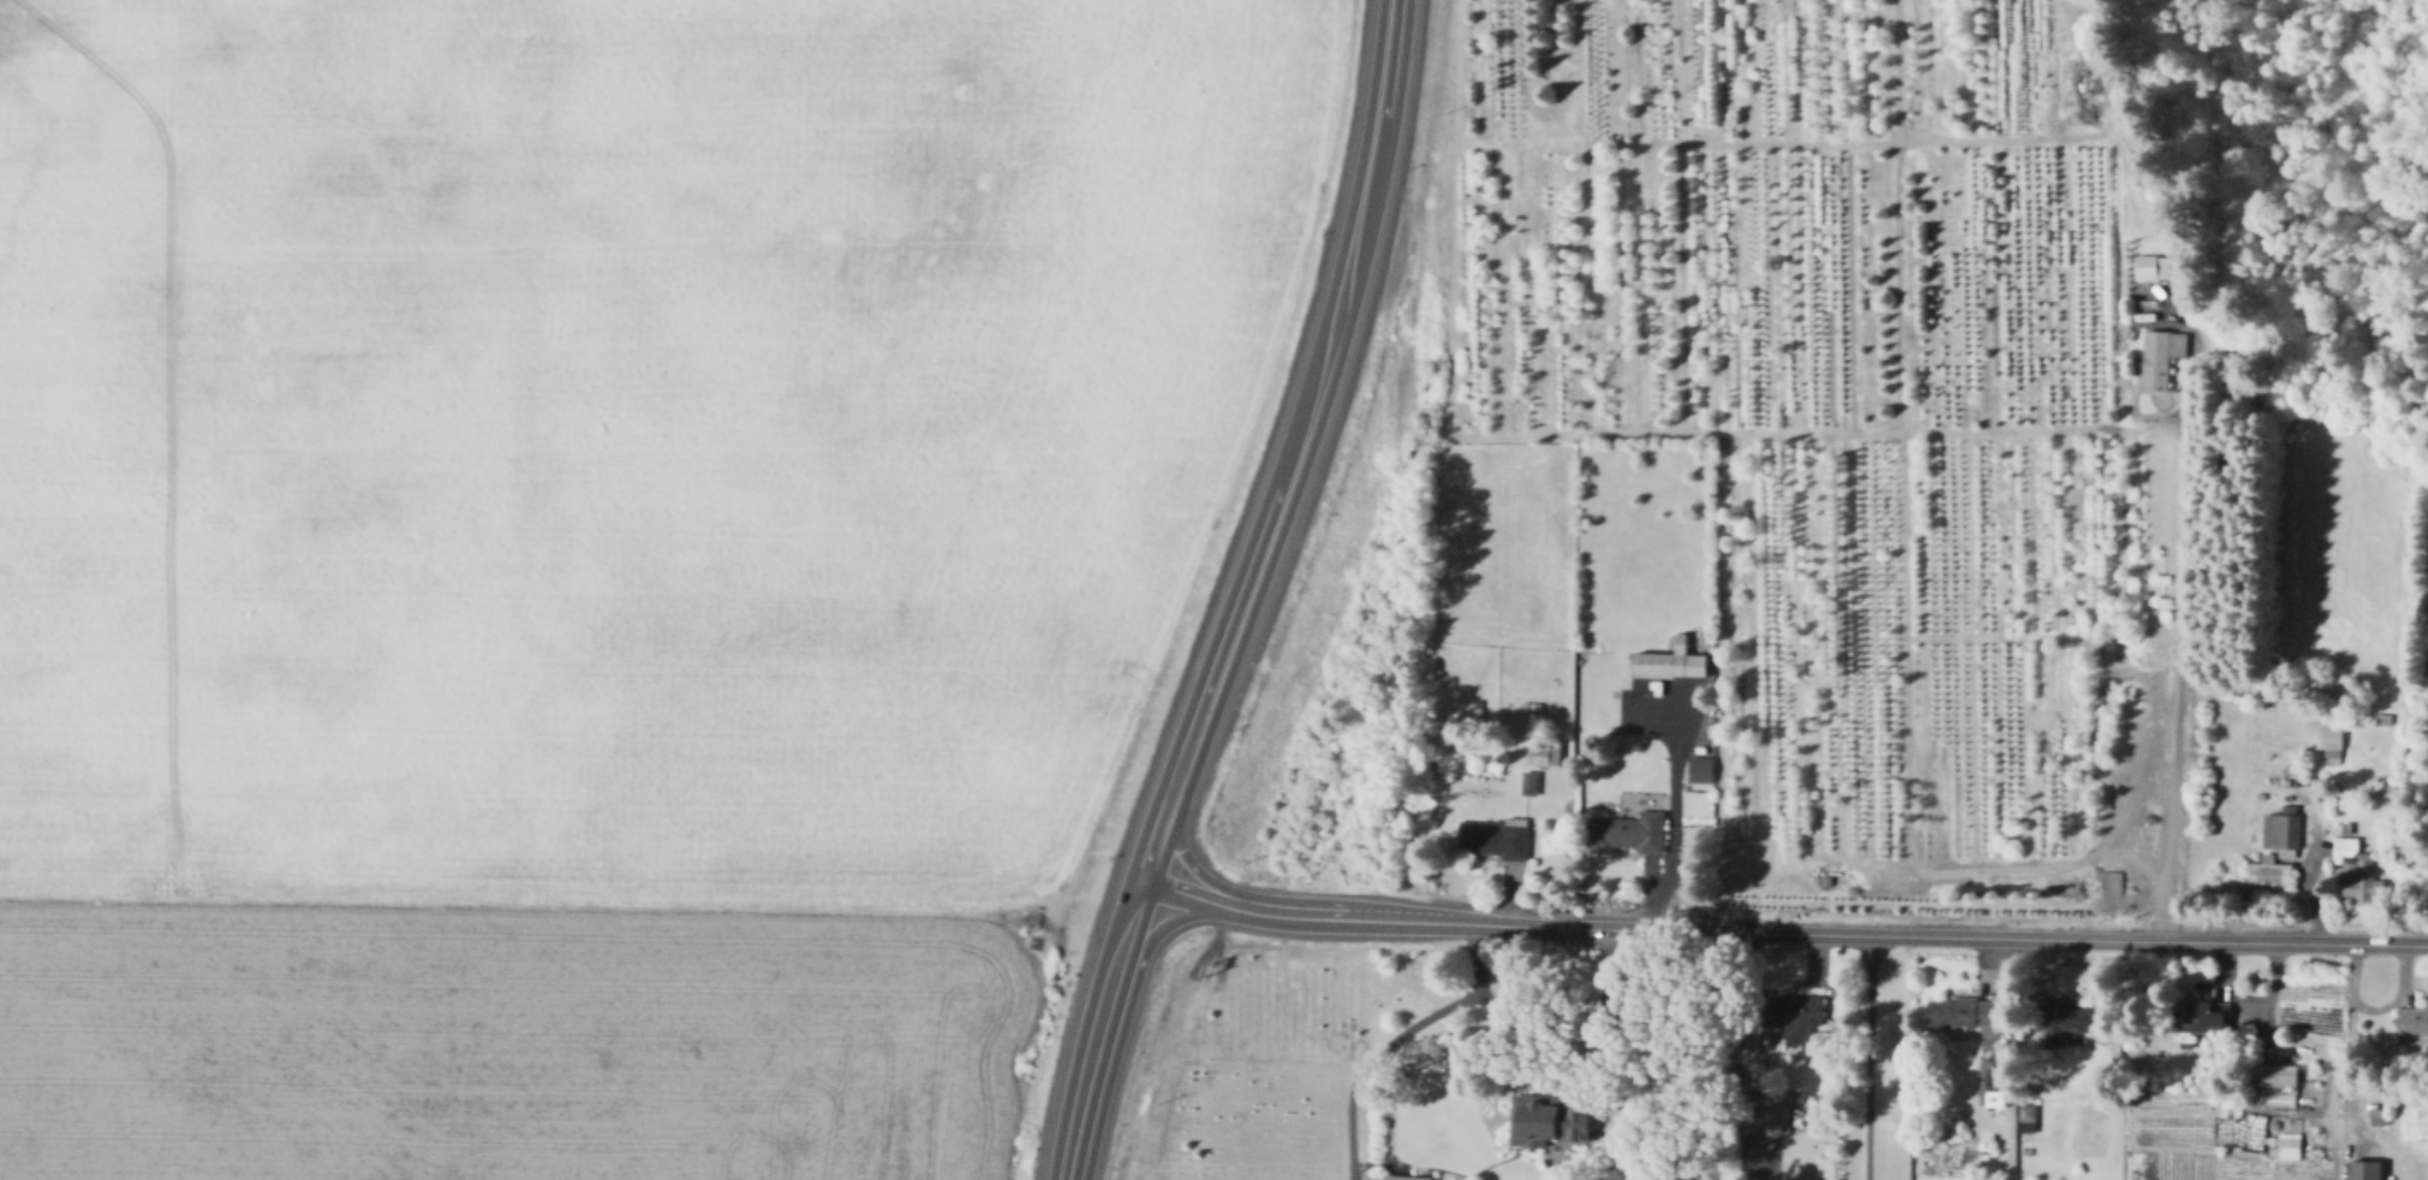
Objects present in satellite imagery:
building: (2153, 267)
road: (1449, 292)
building: (2161, 356)
crop: (596, 558)
road: (1243, 592)
road: (2183, 607)
building: (1670, 665)
building: (1535, 708)
building: (2385, 719)
building: (2333, 738)
building: (1546, 753)
building: (1702, 769)
building: (1531, 782)
road: (1676, 814)
building: (1629, 833)
building: (2283, 833)
building: (1497, 838)
road: (1193, 866)
building: (2360, 871)
building: (2271, 872)
road: (2308, 875)
road: (1163, 926)
road: (1783, 931)
building: (1962, 1014)
building: (2202, 1015)
building: (1798, 1019)
building: (2066, 1020)
building: (2414, 1024)
road: (1391, 1032)
road: (2351, 1044)
road: (1743, 1055)
road: (1867, 1056)
crop: (1251, 1073)
building: (2275, 1074)
building: (1999, 1078)
building: (1779, 1112)
building: (2379, 1116)
building: (1529, 1119)
building: (2029, 1119)
building: (2030, 1150)
building: (2291, 1152)
building: (2366, 1169)
building: (1766, 1173)
building: (1395, 1178)

